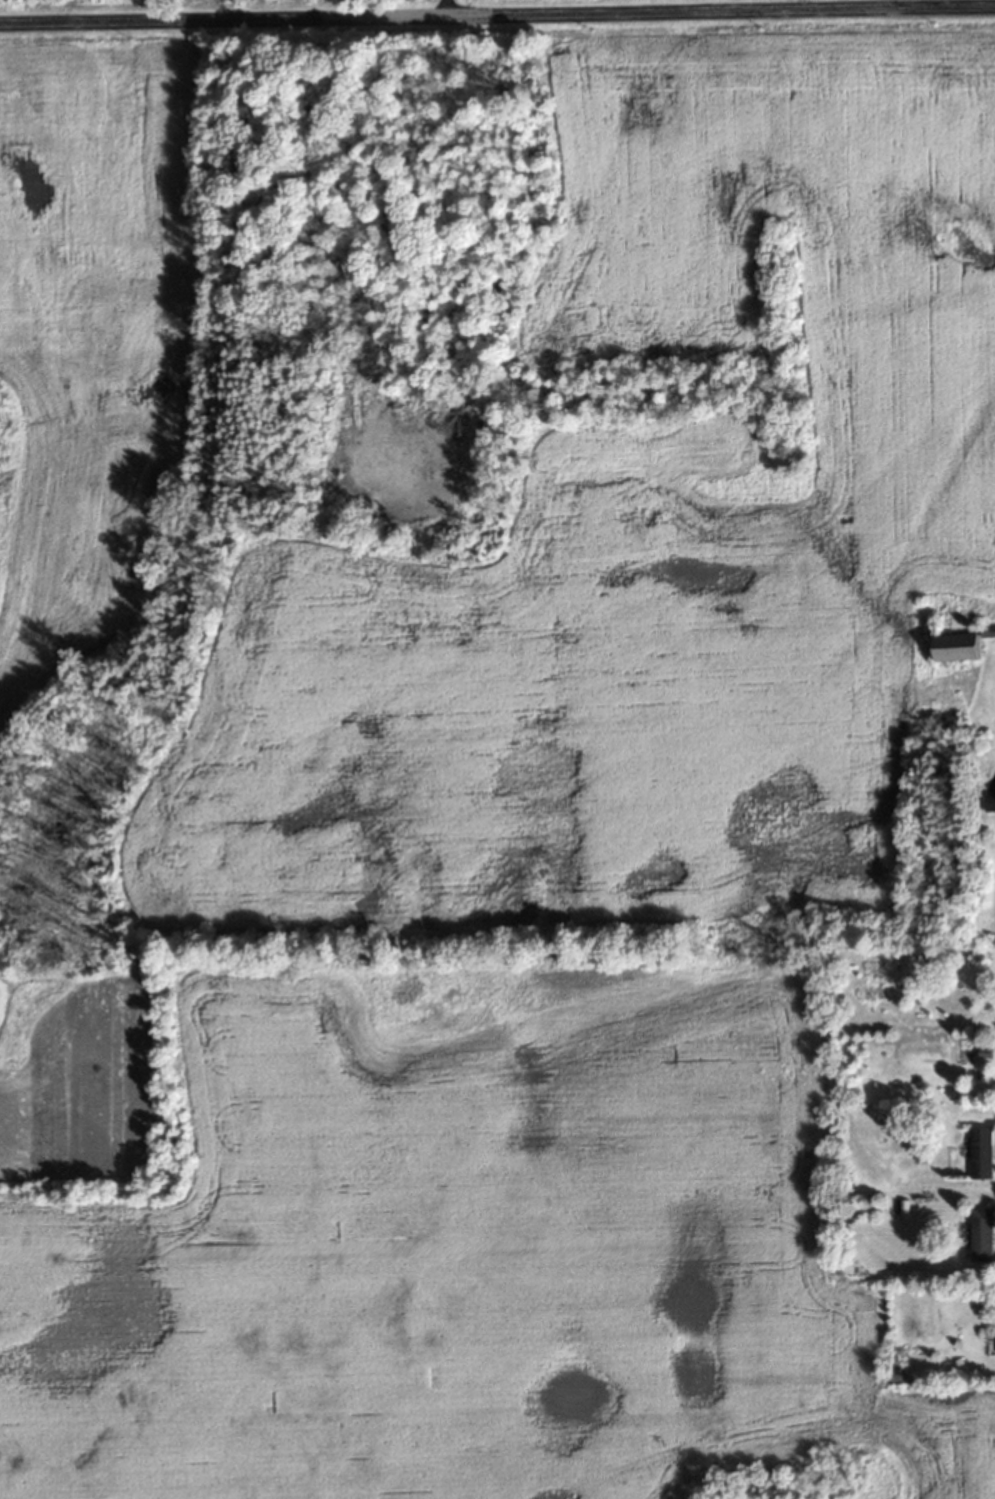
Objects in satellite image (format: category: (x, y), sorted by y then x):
road: (442, 6)
road: (497, 12)
building: (965, 644)
building: (989, 800)
building: (981, 1152)
building: (981, 1233)

